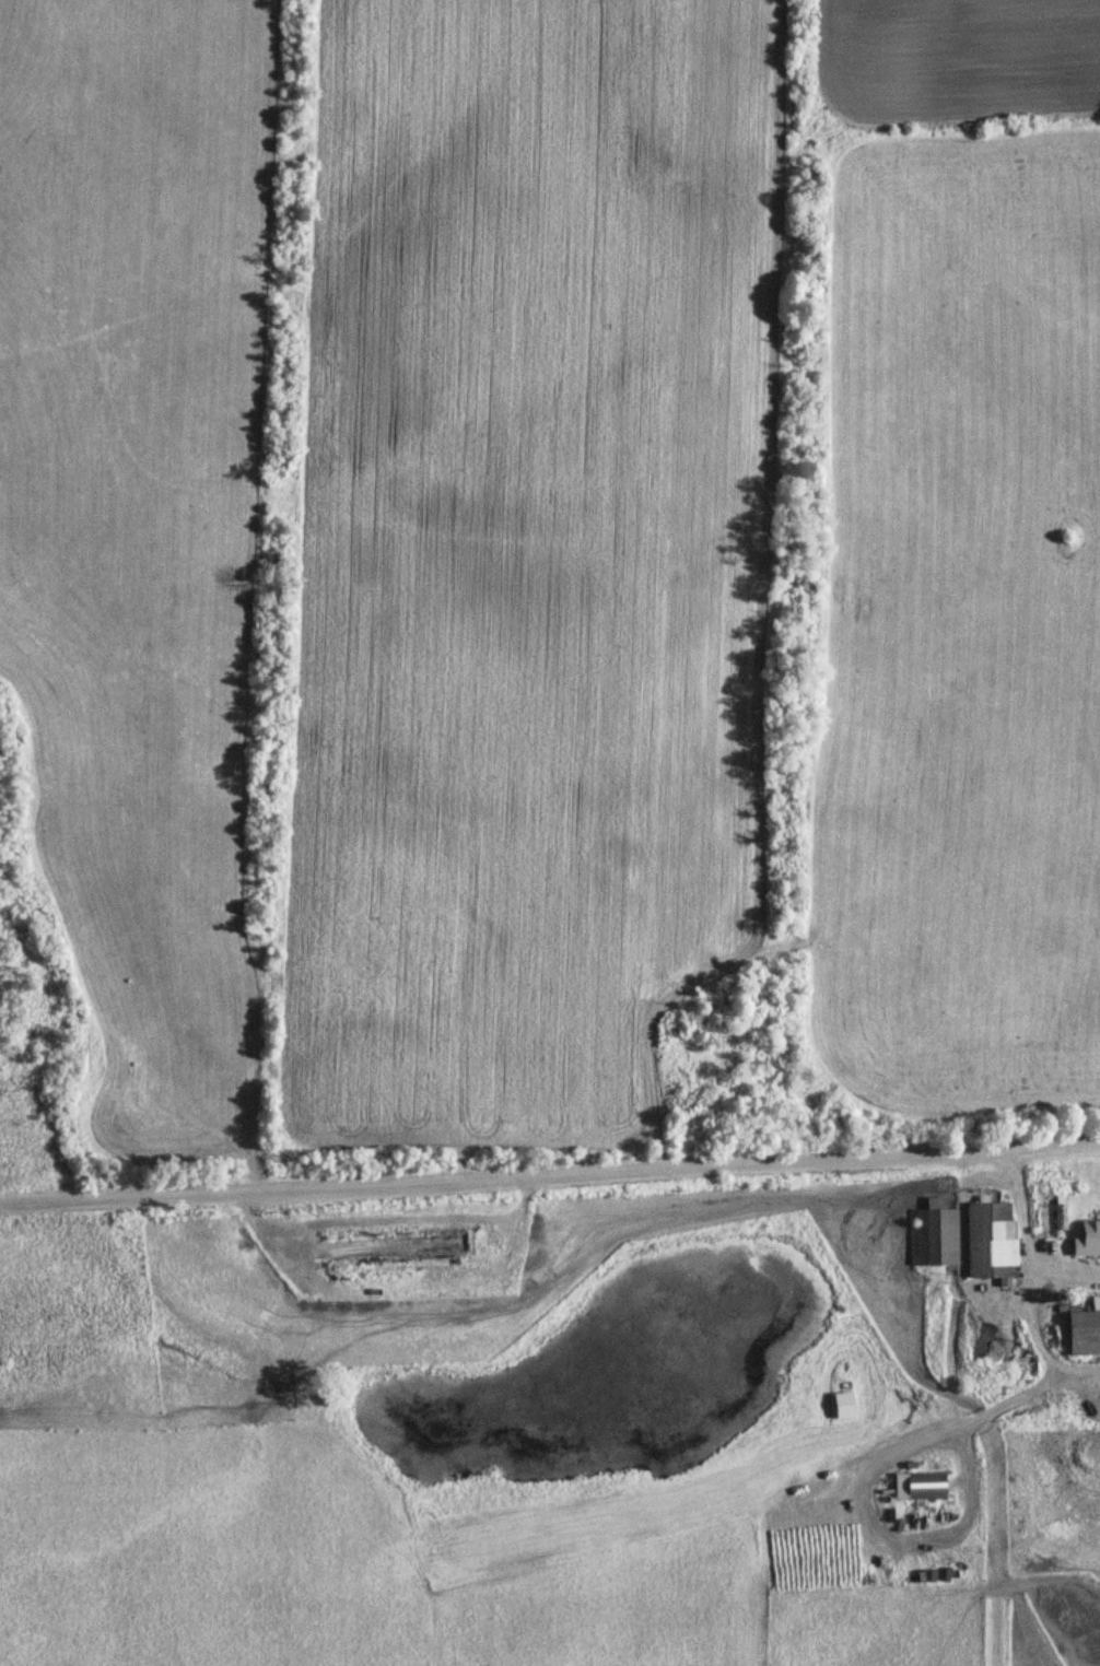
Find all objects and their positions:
road: (534, 1208)
building: (939, 1233)
building: (1085, 1239)
building: (990, 1241)
building: (1083, 1330)
building: (842, 1406)
building: (922, 1486)

